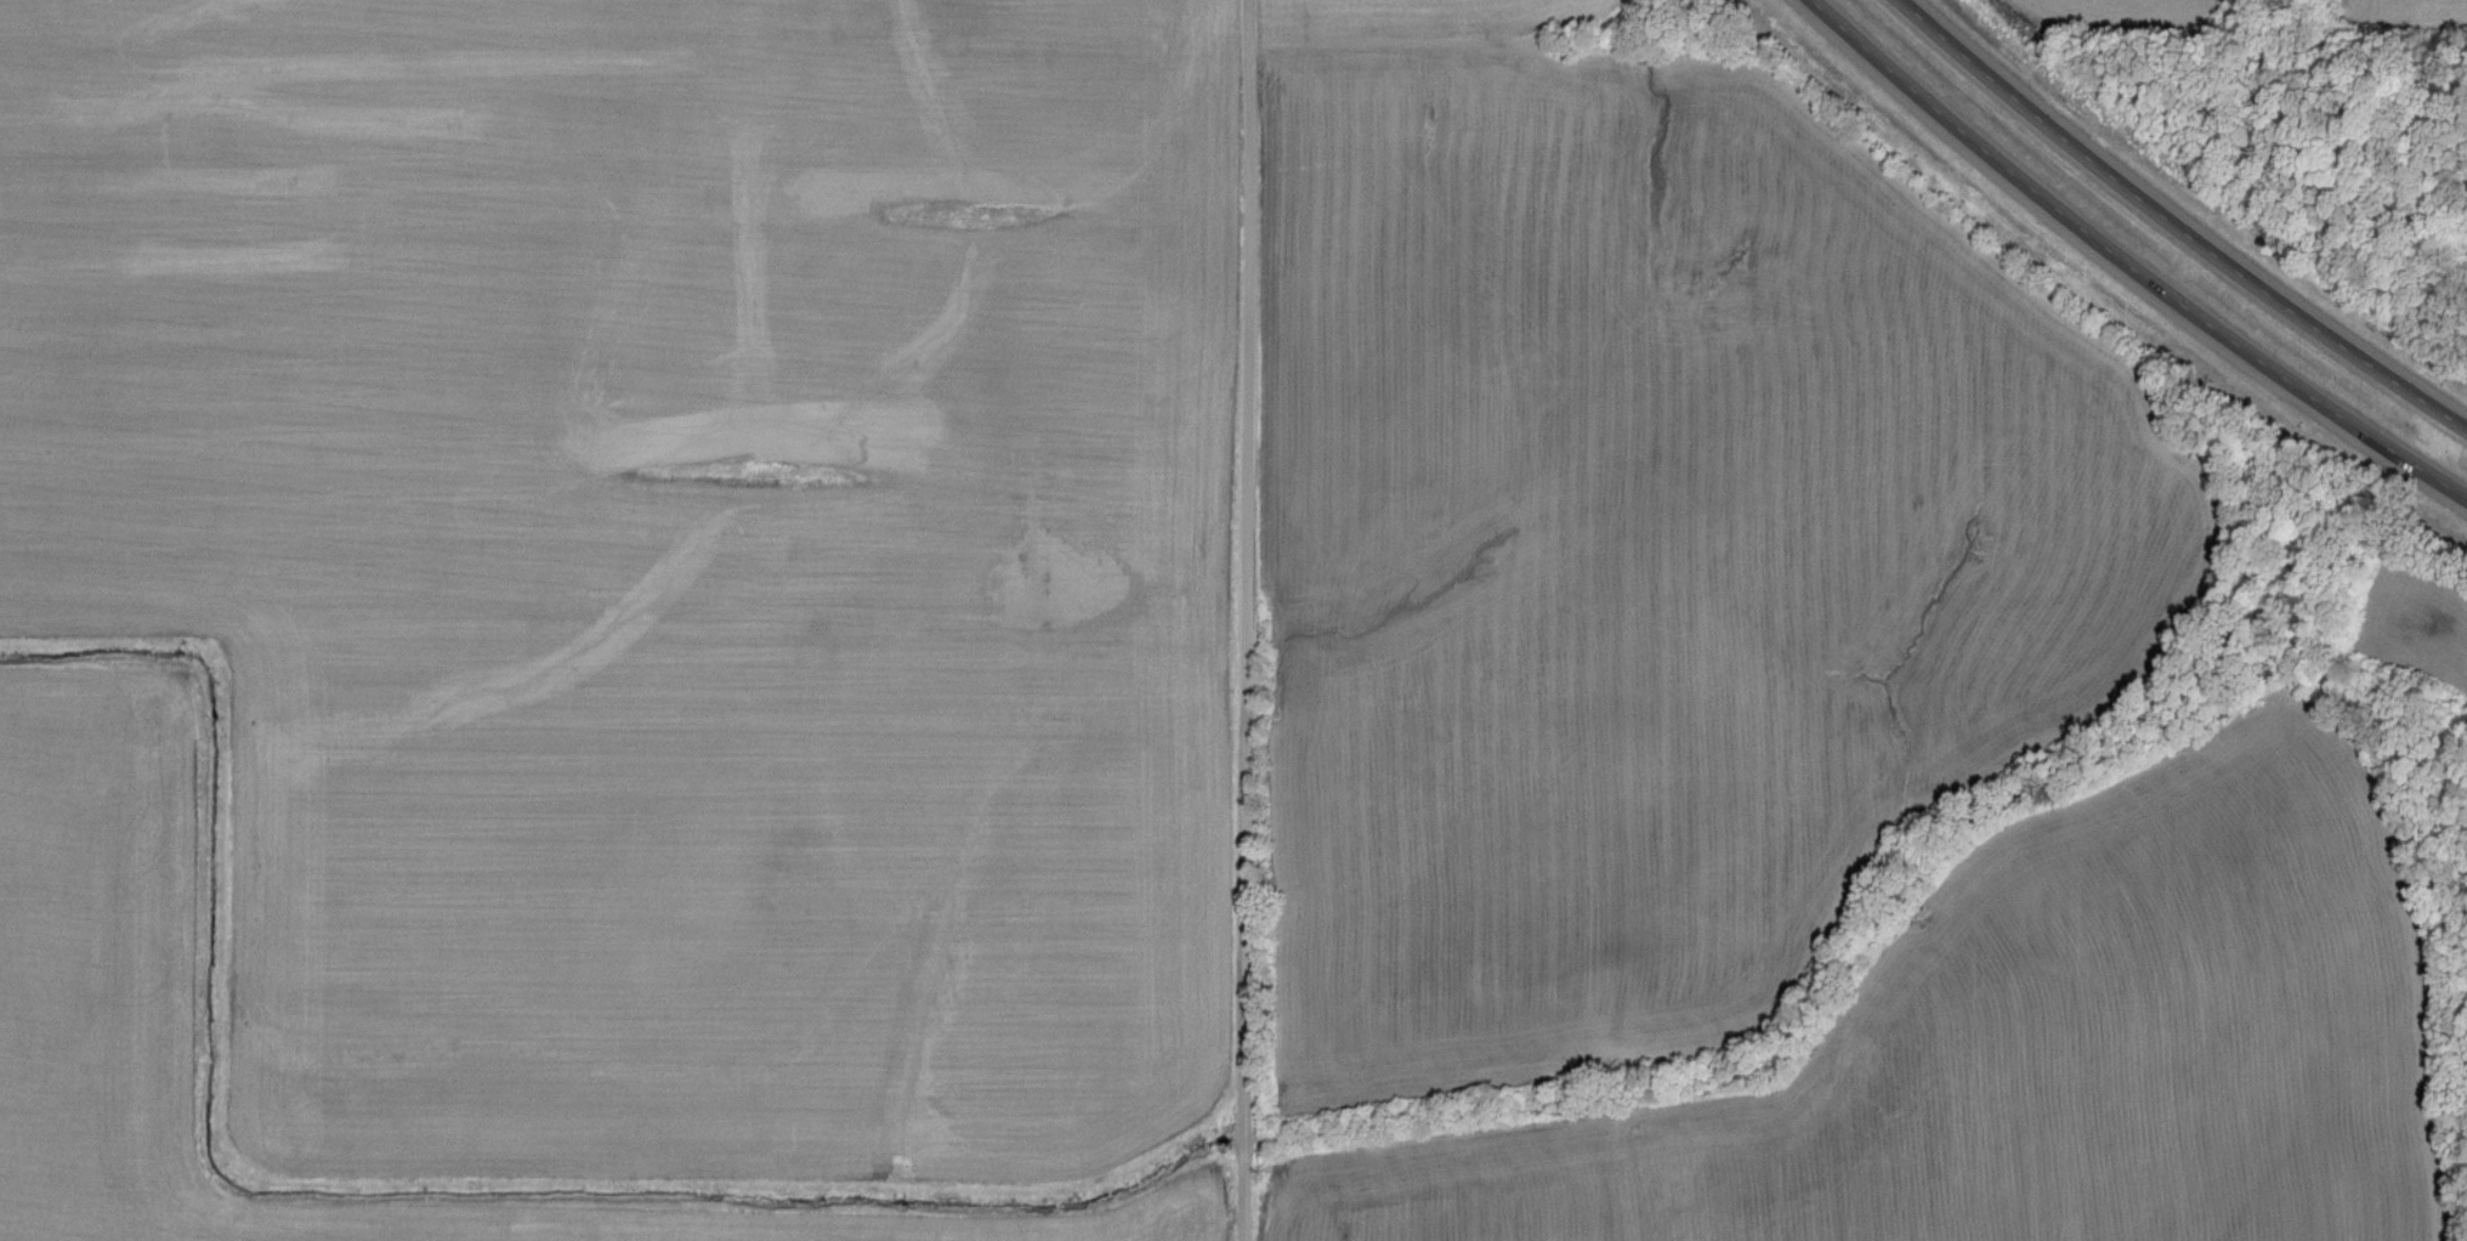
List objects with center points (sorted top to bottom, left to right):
road: (2177, 225)
road: (2117, 273)
road: (1244, 620)

